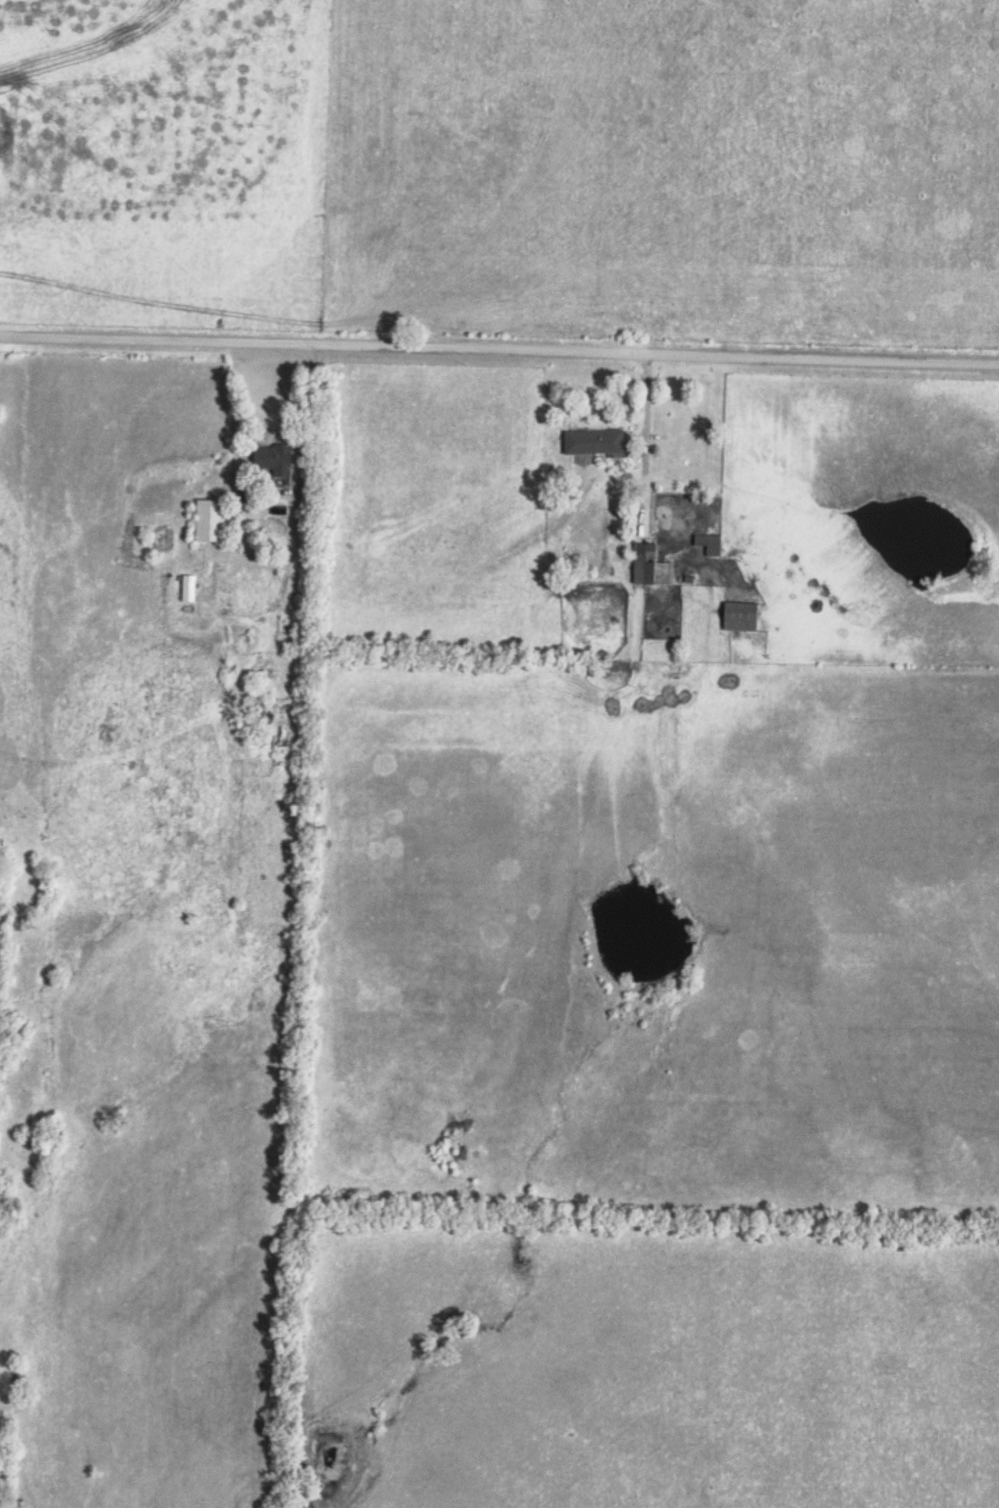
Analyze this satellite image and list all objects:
road: (499, 349)
building: (589, 441)
building: (270, 459)
road: (295, 473)
building: (206, 520)
building: (706, 544)
building: (647, 566)
building: (737, 616)

